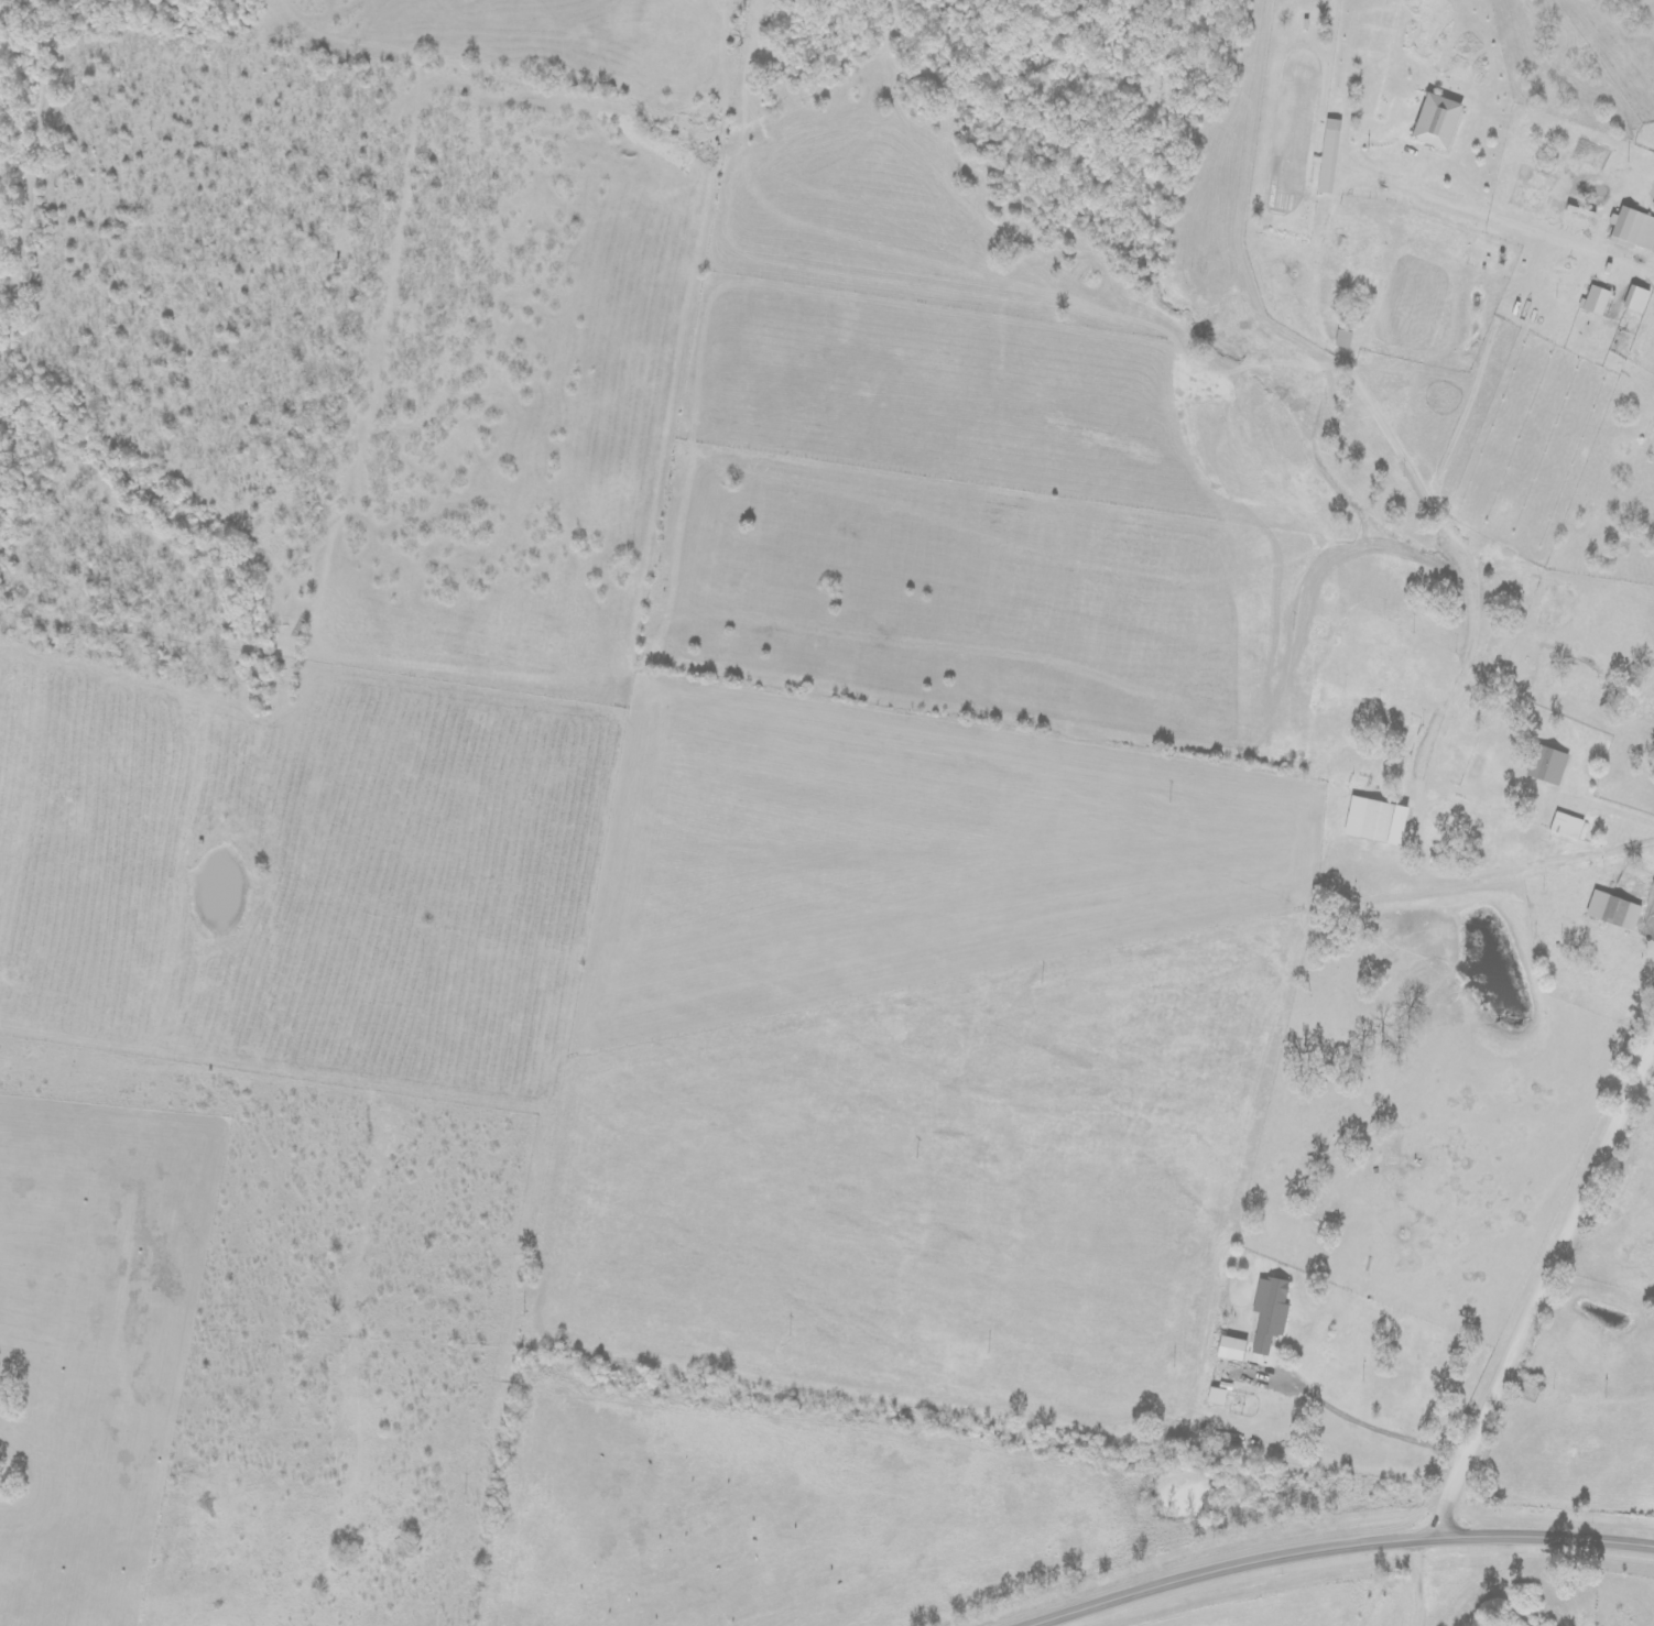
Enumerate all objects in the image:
building: (1435, 122)
building: (1327, 157)
building: (1653, 207)
building: (1632, 230)
building: (1635, 301)
building: (1595, 302)
building: (1546, 765)
building: (1373, 821)
building: (1566, 826)
building: (1612, 912)
road: (1644, 1101)
road: (1545, 1294)
building: (1269, 1313)
building: (1229, 1350)
building: (1217, 1396)
road: (1335, 1547)

